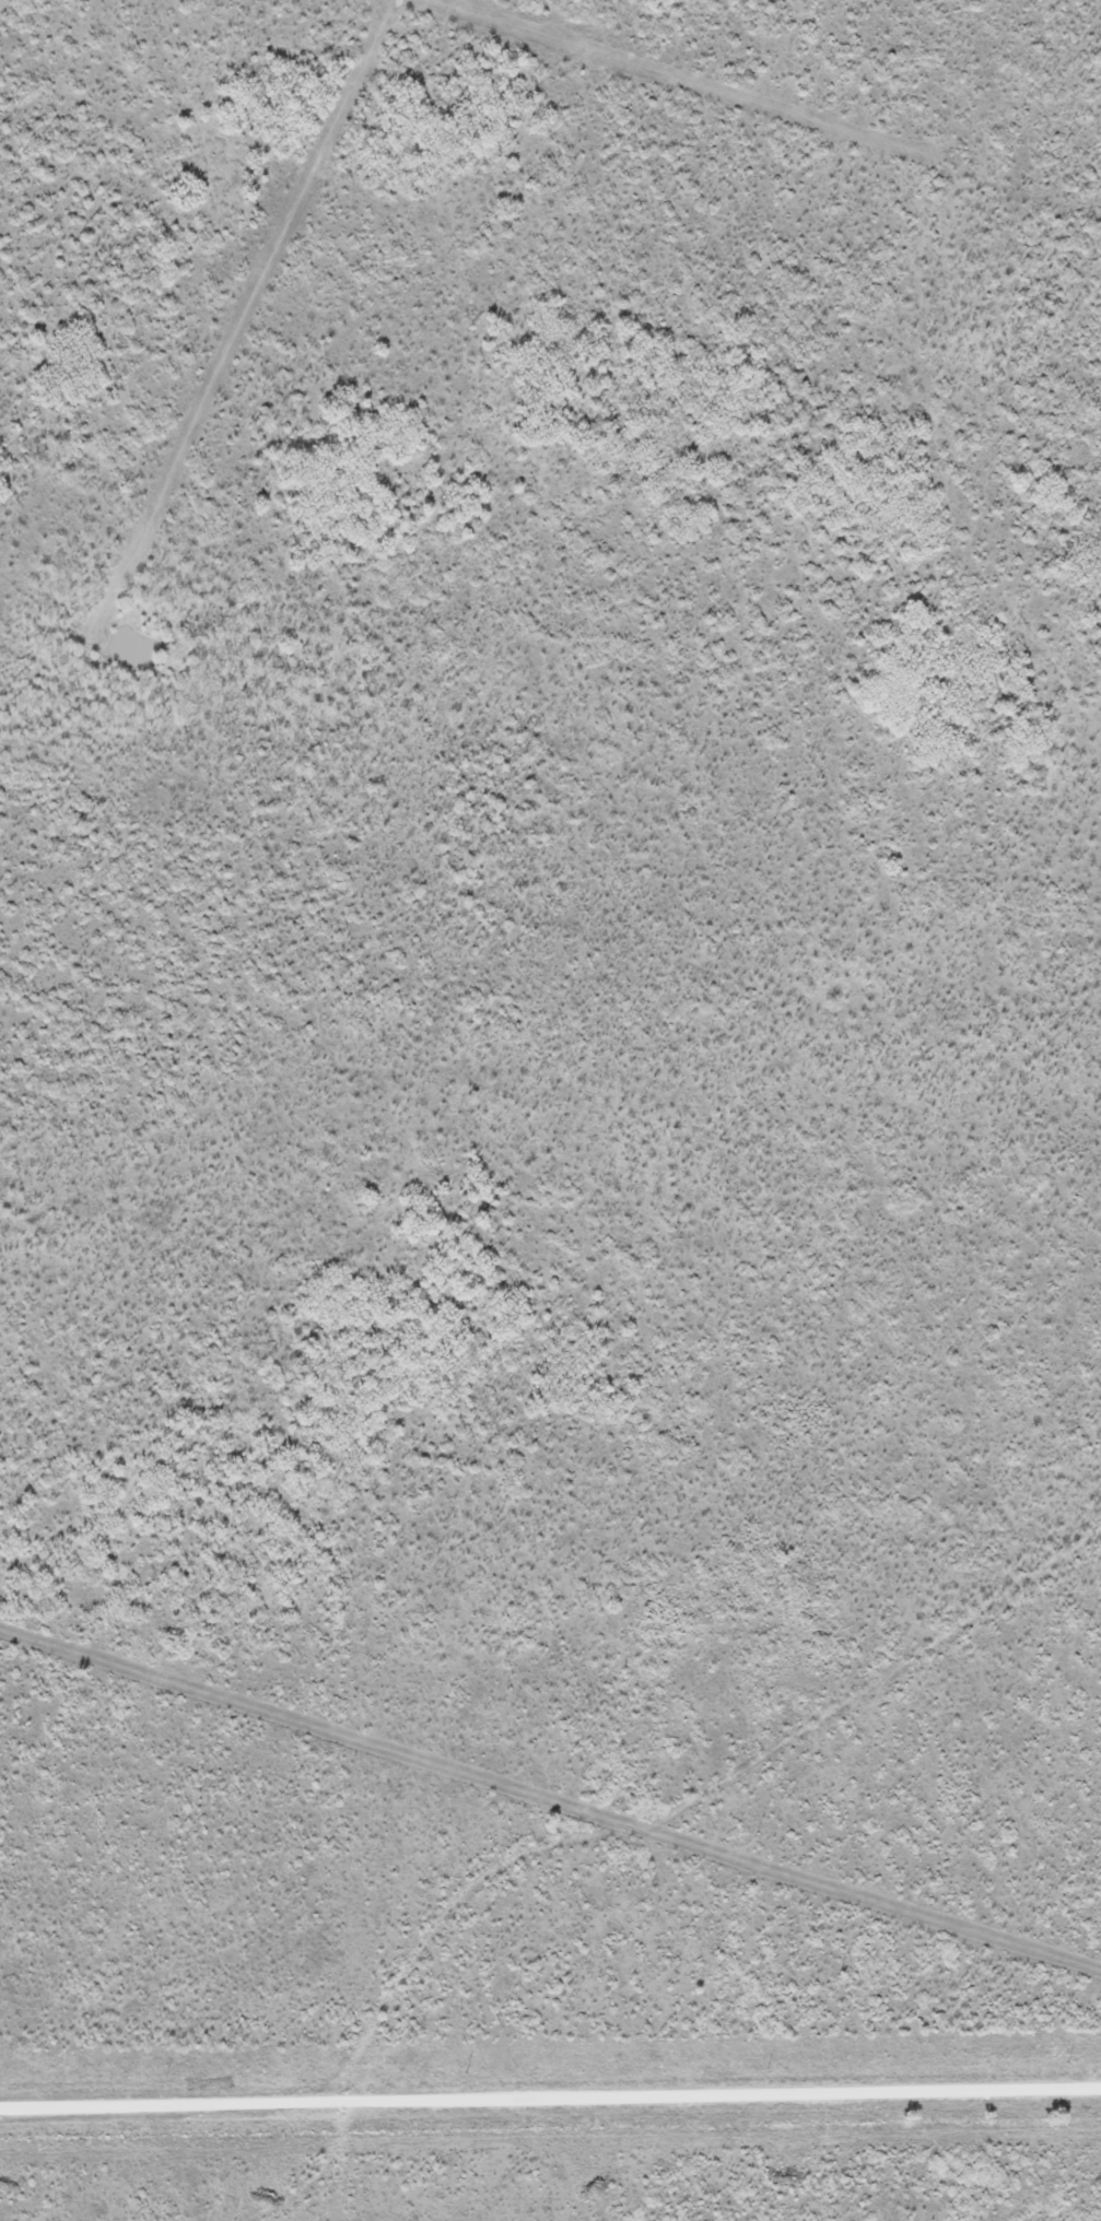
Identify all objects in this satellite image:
road: (550, 2118)

